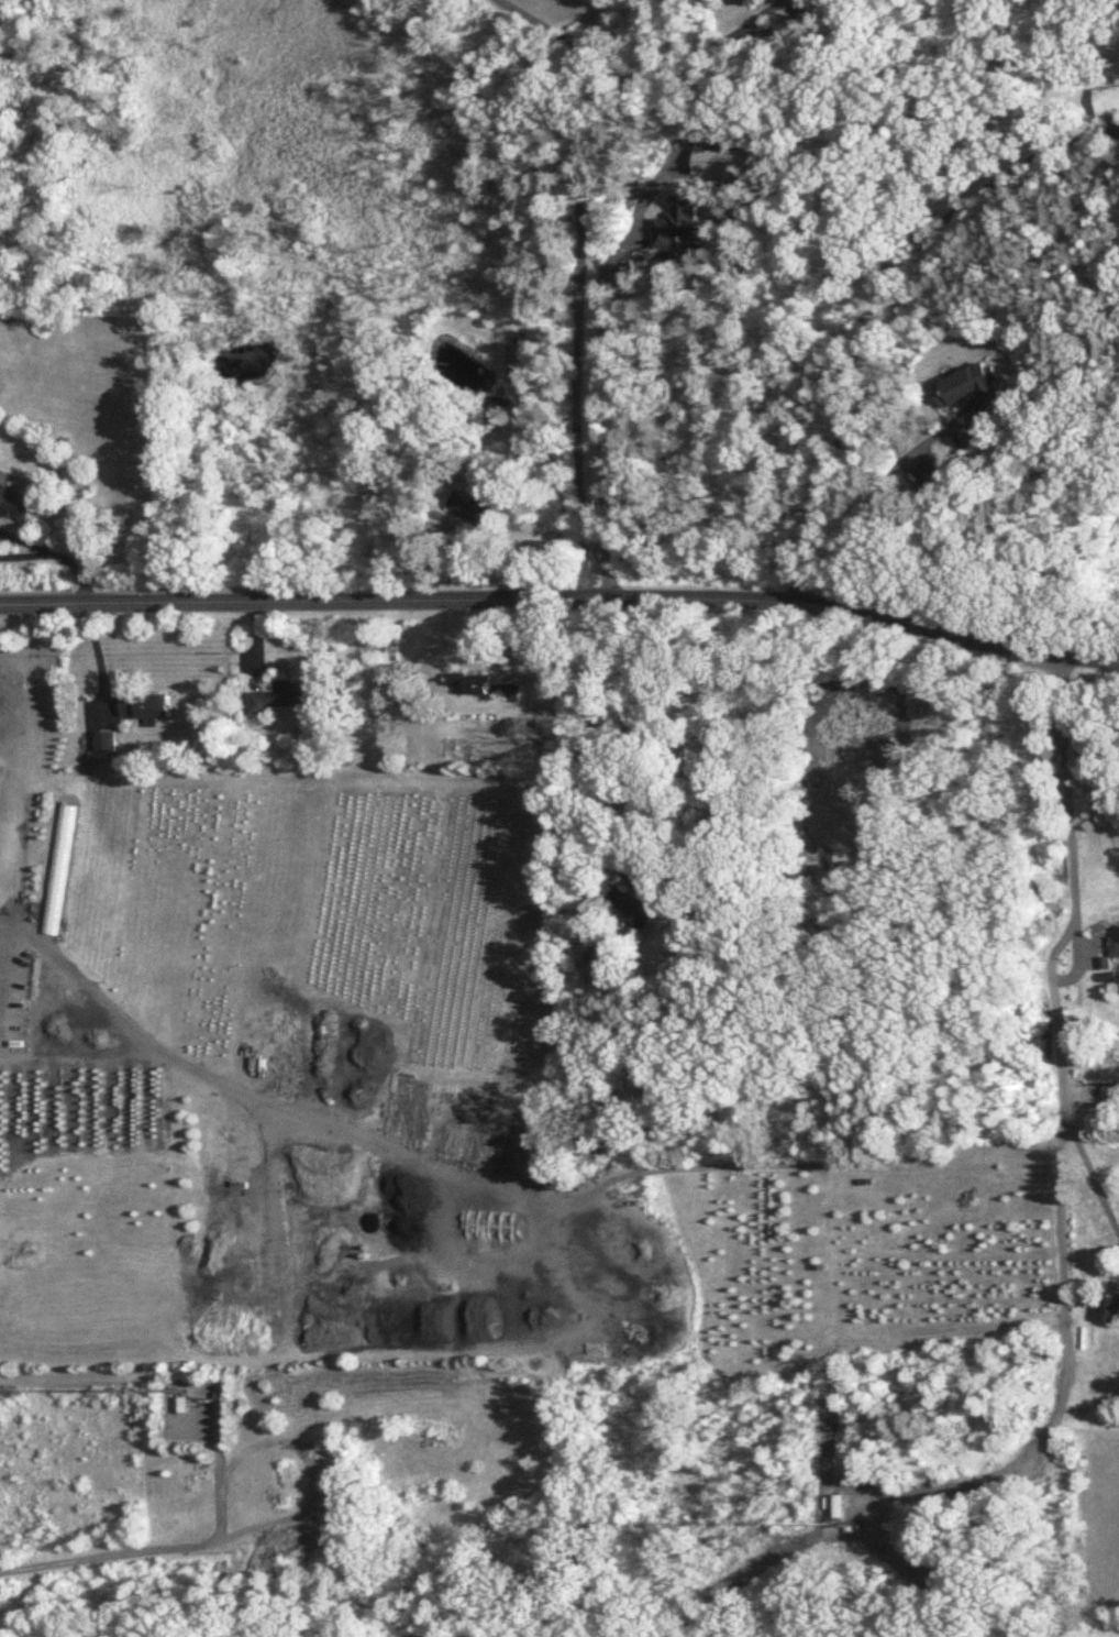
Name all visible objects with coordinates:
building: (745, 1)
road: (751, 18)
road: (773, 32)
road: (644, 75)
building: (1106, 99)
building: (680, 222)
road: (576, 283)
road: (862, 307)
building: (972, 387)
road: (598, 425)
road: (873, 501)
building: (16, 503)
building: (479, 509)
road: (27, 541)
road: (27, 556)
road: (78, 574)
road: (562, 600)
building: (478, 685)
building: (280, 697)
building: (146, 706)
road: (592, 735)
building: (104, 741)
building: (56, 869)
building: (645, 892)
building: (1115, 942)
road: (2, 945)
road: (195, 1070)
road: (1066, 1138)
road: (1094, 1180)
road: (531, 1257)
building: (1110, 1306)
building: (837, 1507)
road: (143, 1550)
park: (525, 1618)
road: (445, 1636)

